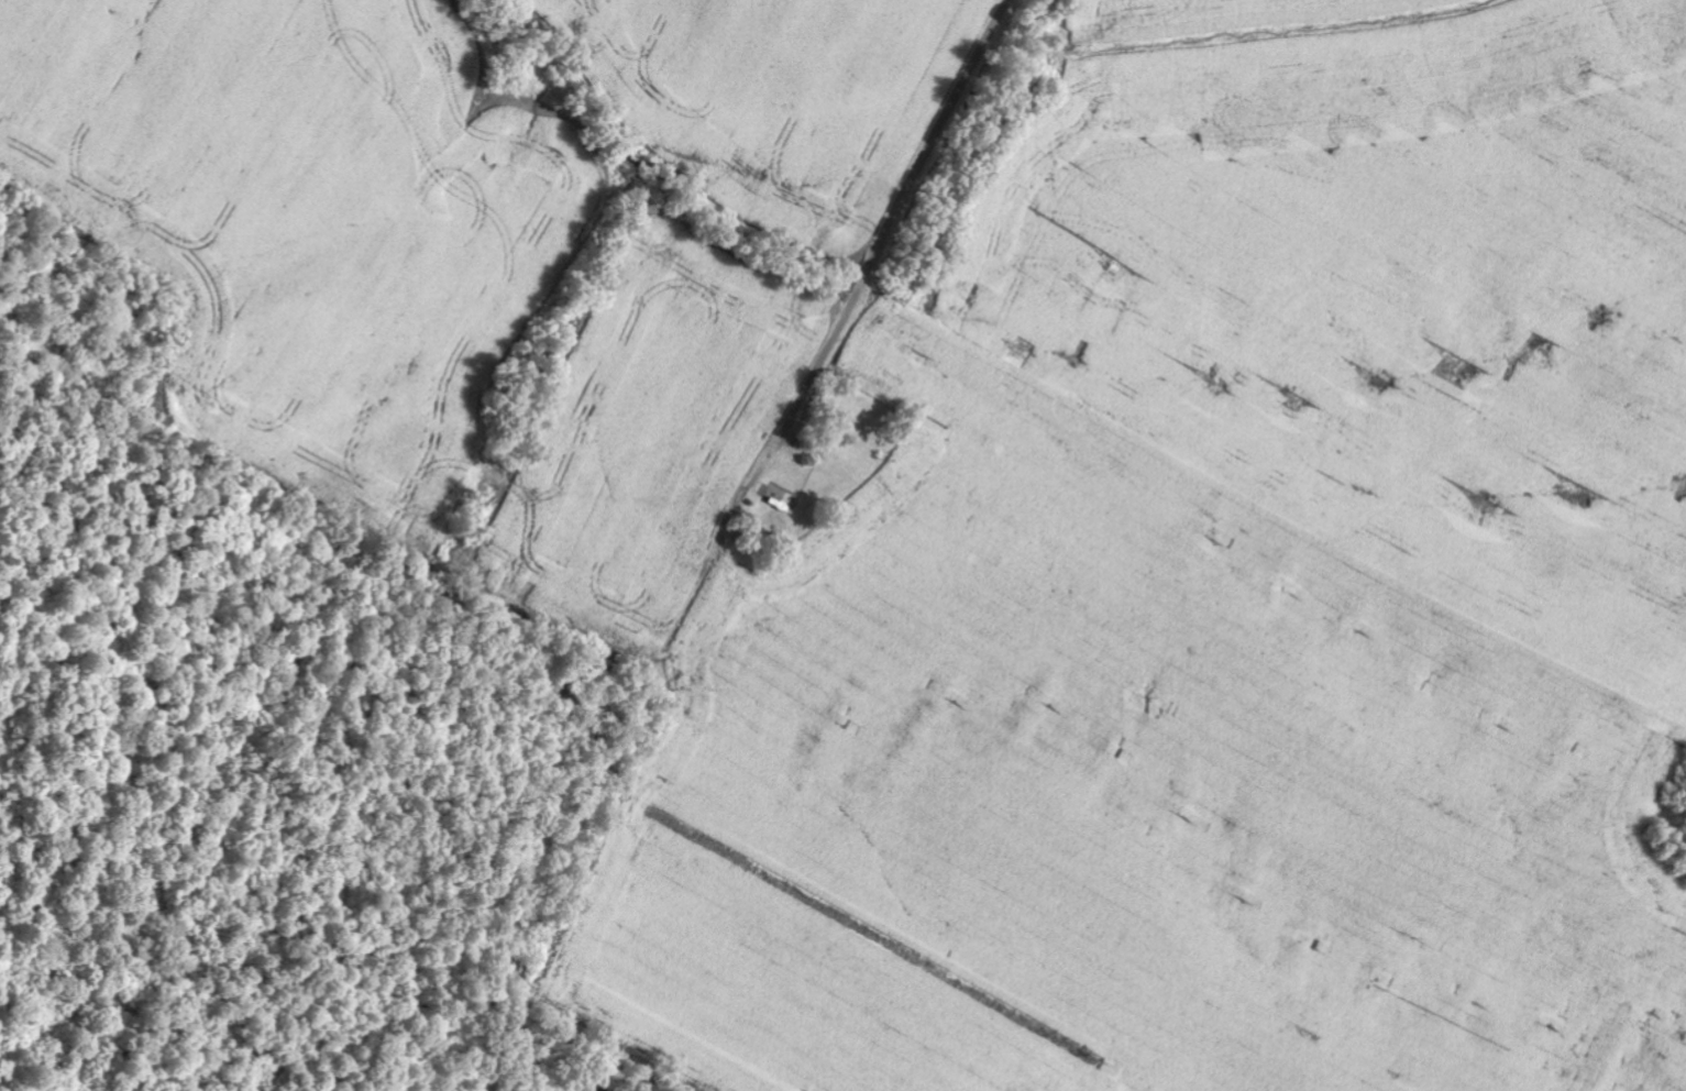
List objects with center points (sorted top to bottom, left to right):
road: (890, 229)

